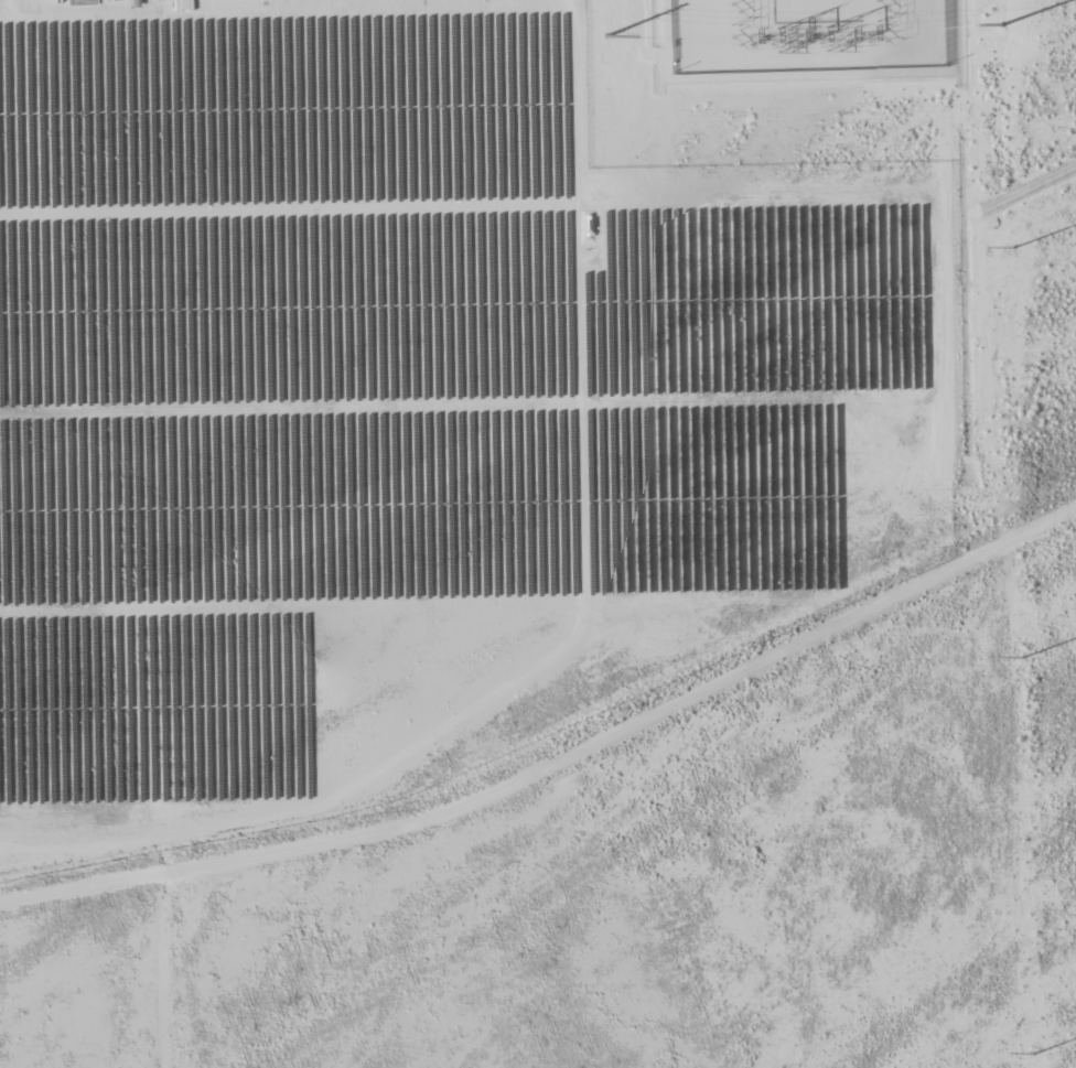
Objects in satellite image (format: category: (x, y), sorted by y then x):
power tower: (1012, 248)
power tower: (1023, 658)
power tower: (1033, 1054)

